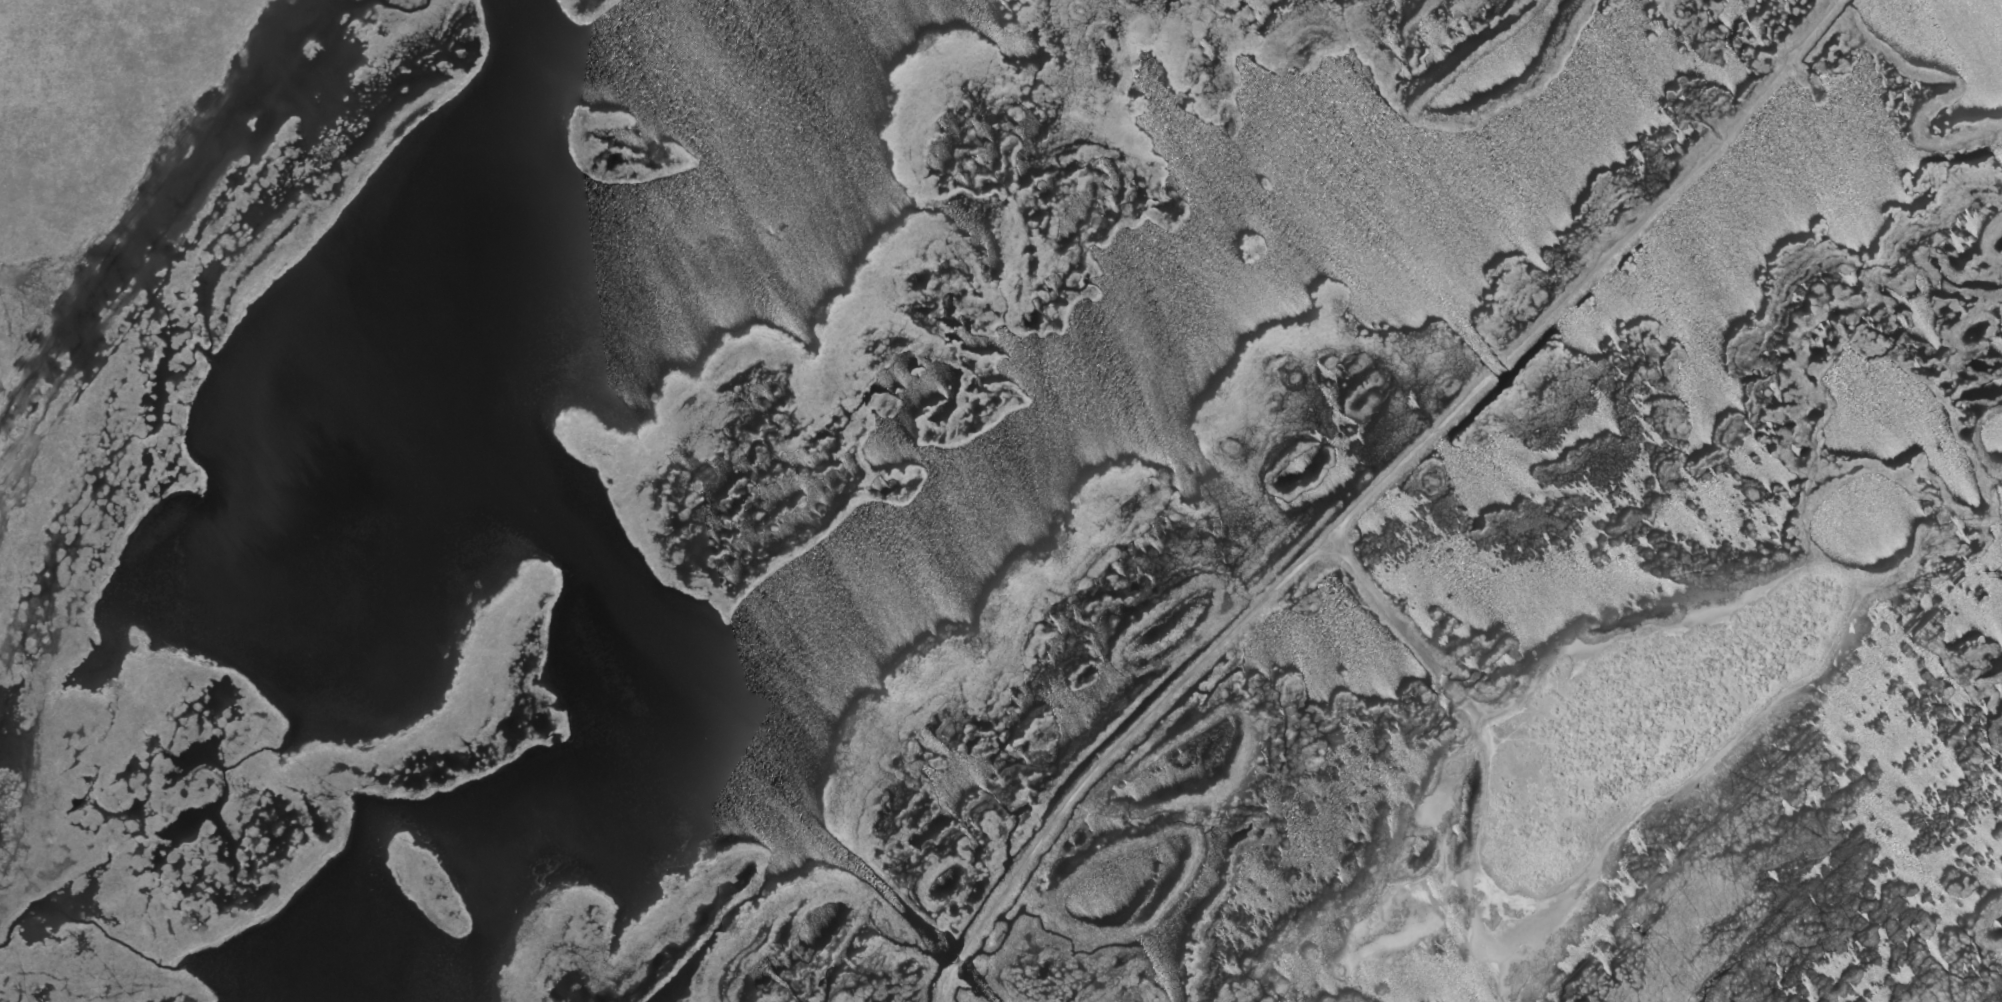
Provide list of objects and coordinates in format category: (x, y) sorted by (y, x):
power tower: (1998, 573)
power tower: (1641, 930)

